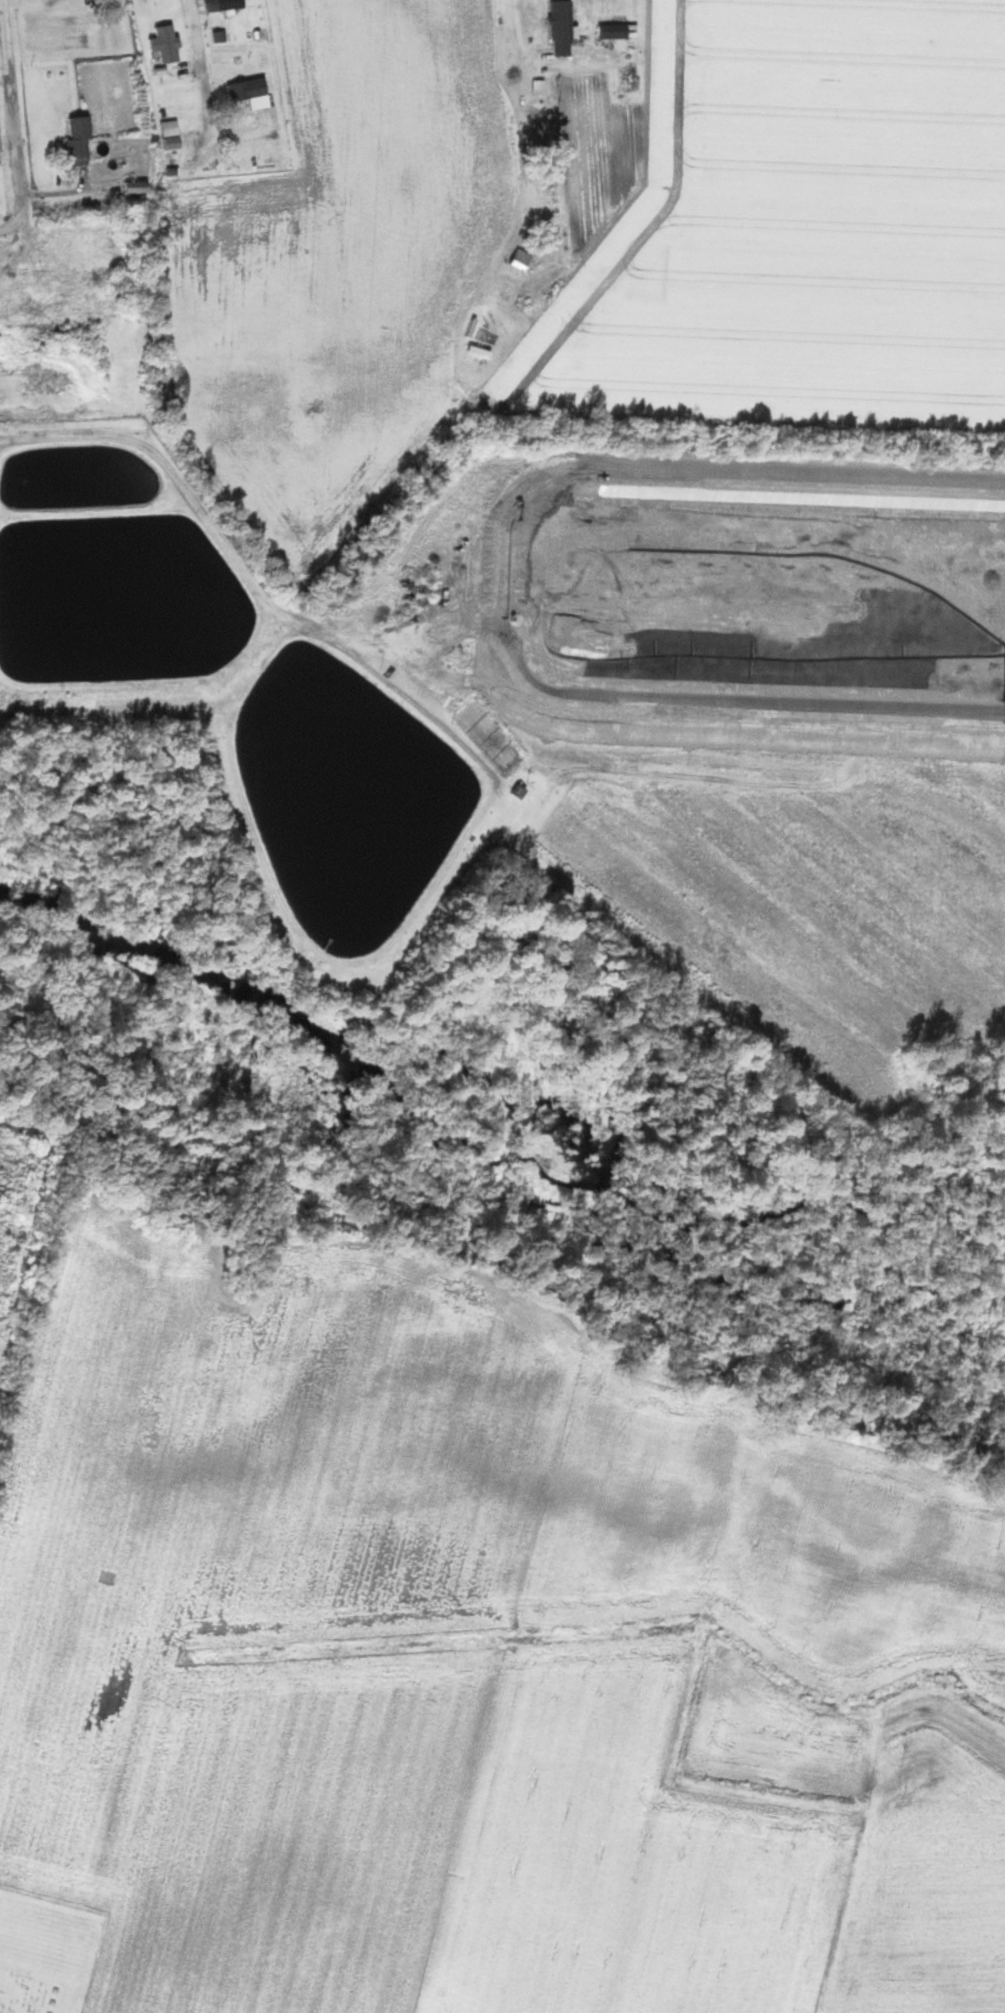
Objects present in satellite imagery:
building: (228, 5)
building: (565, 28)
building: (615, 30)
road: (519, 33)
building: (170, 43)
road: (201, 71)
building: (251, 89)
road: (14, 106)
building: (174, 134)
building: (83, 140)
building: (139, 192)
road: (13, 221)
building: (524, 260)
building: (365, 507)
wastewater plant: (106, 594)
wastewater plant: (350, 819)

